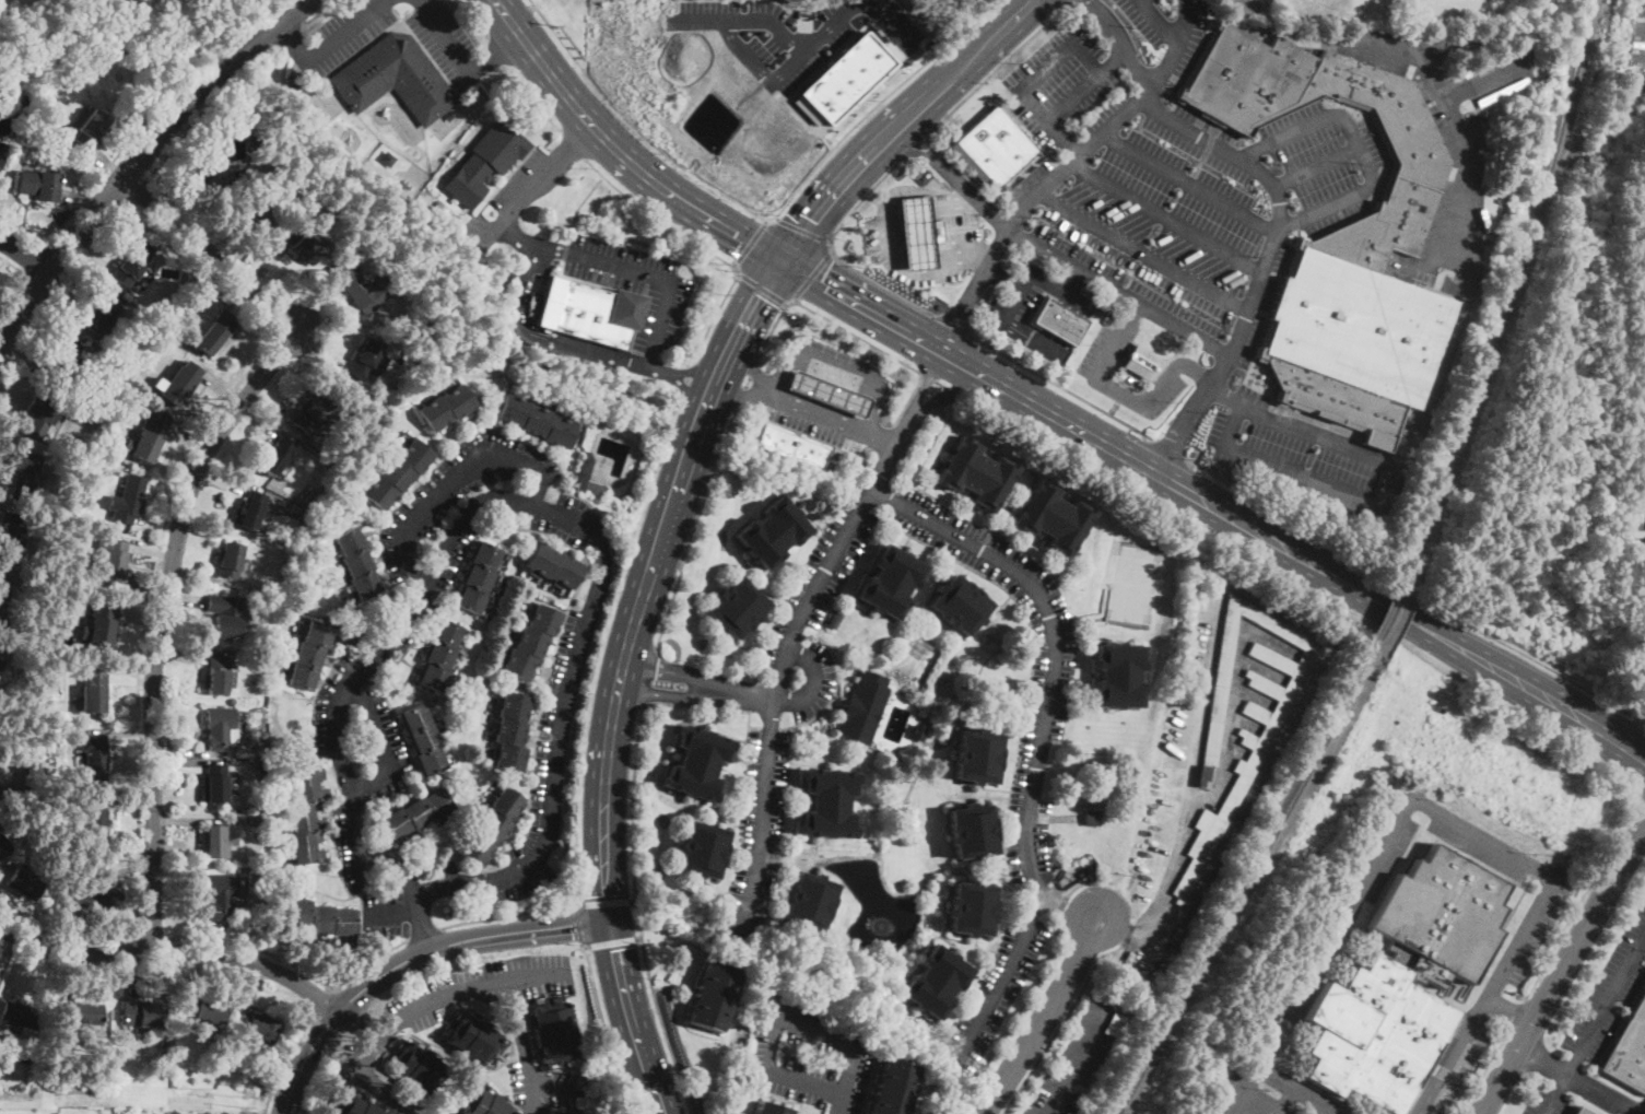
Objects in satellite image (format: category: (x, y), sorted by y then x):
road: (1067, 2)
road: (318, 12)
road: (472, 19)
building: (109, 21)
road: (889, 23)
road: (1161, 23)
road: (1187, 23)
road: (832, 26)
road: (343, 27)
road: (721, 28)
parking lot: (342, 34)
road: (290, 36)
road: (444, 36)
road: (294, 37)
parking lot: (1638, 38)
parking lot: (443, 40)
road: (497, 50)
road: (495, 52)
road: (1002, 60)
road: (1164, 67)
building: (845, 75)
building: (395, 78)
road: (1034, 79)
building: (25, 99)
road: (533, 99)
road: (878, 106)
road: (207, 108)
building: (450, 116)
road: (634, 122)
road: (898, 124)
road: (929, 128)
building: (90, 129)
road: (133, 133)
road: (920, 138)
road: (1062, 138)
road: (572, 143)
road: (1358, 143)
building: (992, 146)
road: (618, 151)
road: (904, 151)
building: (2, 152)
building: (387, 159)
building: (210, 160)
road: (141, 161)
building: (485, 163)
road: (1314, 165)
parking lot: (1176, 178)
road: (1190, 183)
building: (38, 185)
road: (537, 185)
parking lot: (519, 191)
road: (139, 192)
road: (578, 204)
building: (257, 206)
road: (1278, 207)
road: (1023, 211)
road: (1080, 214)
road: (653, 215)
road: (1167, 216)
road: (1472, 223)
road: (1006, 226)
road: (801, 230)
building: (917, 232)
road: (957, 232)
road: (517, 237)
building: (1342, 238)
road: (751, 239)
road: (888, 241)
building: (302, 246)
road: (832, 250)
road: (25, 253)
road: (212, 256)
road: (37, 259)
traffic signals: (779, 261)
building: (131, 263)
road: (13, 267)
road: (203, 267)
building: (408, 273)
road: (1030, 273)
road: (646, 275)
road: (813, 275)
road: (1003, 279)
road: (1072, 281)
railway: (1517, 283)
parking lot: (635, 285)
road: (762, 286)
building: (357, 288)
road: (59, 292)
road: (843, 293)
road: (1118, 294)
parking lot: (1017, 297)
building: (939, 307)
building: (99, 312)
building: (590, 312)
road: (1050, 316)
road: (936, 320)
road: (950, 321)
building: (1059, 321)
road: (1059, 321)
road: (1070, 328)
road: (771, 329)
road: (707, 331)
road: (851, 331)
building: (214, 332)
building: (425, 332)
road: (963, 336)
road: (1029, 336)
road: (541, 338)
road: (923, 338)
building: (157, 342)
building: (121, 348)
road: (952, 355)
parking lot: (839, 356)
parking lot: (1101, 357)
building: (62, 360)
building: (365, 360)
building: (1140, 362)
road: (754, 370)
road: (977, 370)
road: (837, 371)
road: (1198, 374)
road: (677, 375)
road: (682, 375)
road: (927, 375)
road: (742, 382)
road: (923, 383)
building: (177, 384)
road: (942, 384)
road: (1061, 385)
road: (1106, 385)
road: (743, 391)
building: (827, 391)
road: (957, 392)
gas station: (827, 394)
road: (947, 394)
road: (1120, 394)
parking lot: (1197, 397)
road: (907, 400)
building: (99, 404)
building: (446, 408)
road: (1055, 412)
building: (310, 414)
building: (40, 415)
parking lot: (801, 419)
road: (835, 419)
building: (537, 421)
road: (917, 426)
building: (145, 438)
building: (101, 443)
building: (791, 446)
road: (1171, 446)
parking lot: (1295, 454)
building: (275, 456)
building: (337, 460)
building: (92, 462)
building: (584, 469)
building: (398, 473)
building: (974, 473)
building: (24, 474)
road: (449, 480)
parking lot: (874, 494)
building: (128, 499)
building: (312, 499)
road: (1365, 500)
road: (510, 501)
building: (250, 511)
building: (295, 511)
parking lot: (473, 511)
building: (1051, 517)
road: (691, 527)
building: (72, 529)
building: (772, 532)
building: (9, 535)
building: (113, 559)
building: (230, 561)
building: (357, 563)
building: (553, 566)
road: (968, 566)
building: (478, 577)
building: (890, 582)
park: (1133, 585)
road: (1307, 585)
road: (1417, 587)
building: (57, 594)
road: (1383, 601)
building: (959, 605)
railway: (1388, 606)
building: (737, 608)
building: (224, 615)
parking lot: (814, 615)
road: (146, 618)
building: (835, 619)
road: (160, 620)
building: (99, 625)
building: (531, 641)
parking lot: (1056, 642)
road: (597, 643)
building: (309, 655)
building: (439, 655)
building: (259, 659)
building: (0, 661)
road: (787, 666)
road: (665, 669)
parking lot: (361, 670)
building: (218, 675)
road: (620, 676)
road: (647, 676)
building: (1117, 676)
road: (814, 681)
building: (94, 690)
road: (659, 691)
road: (738, 694)
parking lot: (771, 710)
building: (861, 711)
building: (50, 719)
building: (219, 726)
road: (1634, 730)
building: (512, 732)
building: (918, 732)
road: (1041, 736)
building: (423, 739)
parking lot: (377, 746)
road: (384, 747)
building: (1256, 747)
building: (260, 748)
building: (94, 755)
building: (977, 755)
building: (259, 763)
building: (696, 763)
building: (260, 772)
parking lot: (538, 779)
building: (214, 784)
road: (1190, 790)
road: (1641, 794)
building: (827, 804)
building: (416, 813)
building: (94, 817)
building: (307, 817)
building: (254, 818)
building: (1092, 818)
building: (492, 826)
building: (972, 831)
parking lot: (759, 836)
building: (216, 841)
parking lot: (353, 843)
building: (5, 844)
road: (631, 844)
parking lot: (1029, 847)
building: (702, 849)
building: (1058, 872)
building: (27, 880)
road: (1084, 882)
railway: (1247, 886)
building: (220, 894)
road: (1582, 895)
building: (83, 899)
road: (631, 899)
road: (604, 901)
building: (808, 901)
road: (1062, 902)
building: (972, 908)
road: (1069, 908)
road: (391, 912)
parking lot: (381, 913)
road: (509, 914)
building: (321, 917)
road: (1097, 917)
traffic signals: (609, 920)
road: (577, 926)
road: (68, 933)
road: (424, 933)
road: (637, 937)
road: (154, 939)
road: (609, 941)
road: (174, 952)
road: (408, 959)
road: (296, 966)
road: (1562, 969)
road: (536, 972)
road: (500, 977)
building: (1406, 981)
building: (935, 982)
parking lot: (480, 987)
parking lot: (998, 988)
building: (713, 996)
road: (321, 1000)
road: (1606, 1000)
building: (200, 1011)
parking lot: (1597, 1012)
road: (778, 1013)
road: (1515, 1013)
building: (87, 1015)
building: (141, 1015)
building: (20, 1018)
road: (1041, 1021)
road: (1061, 1022)
building: (260, 1025)
road: (354, 1025)
road: (602, 1027)
building: (554, 1032)
building: (471, 1034)
parking lot: (824, 1047)
building: (1629, 1049)
road: (284, 1058)
road: (1541, 1062)
road: (1078, 1065)
building: (414, 1067)
building: (225, 1068)
parking lot: (789, 1070)
road: (1482, 1071)
building: (73, 1074)
road: (368, 1084)
parking lot: (543, 1084)
road: (551, 1086)
building: (894, 1088)
road: (1553, 1093)
road: (1601, 1093)
power tower: (244, 1098)
road: (837, 1103)
building: (484, 1104)
building: (353, 1106)
building: (768, 1109)
building: (1582, 1111)
parking lot: (1643, 1111)
building: (173, 1112)
building: (541, 1113)

